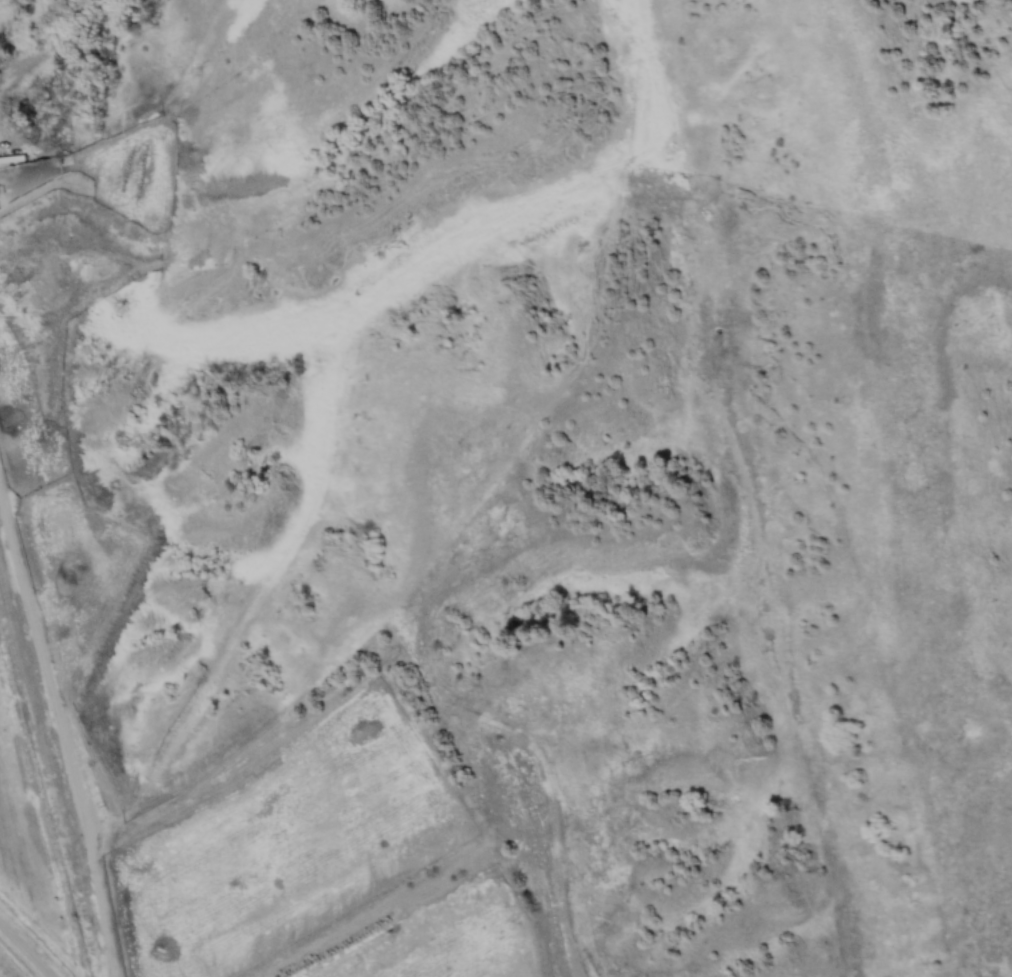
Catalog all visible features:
road: (65, 729)
road: (27, 948)

